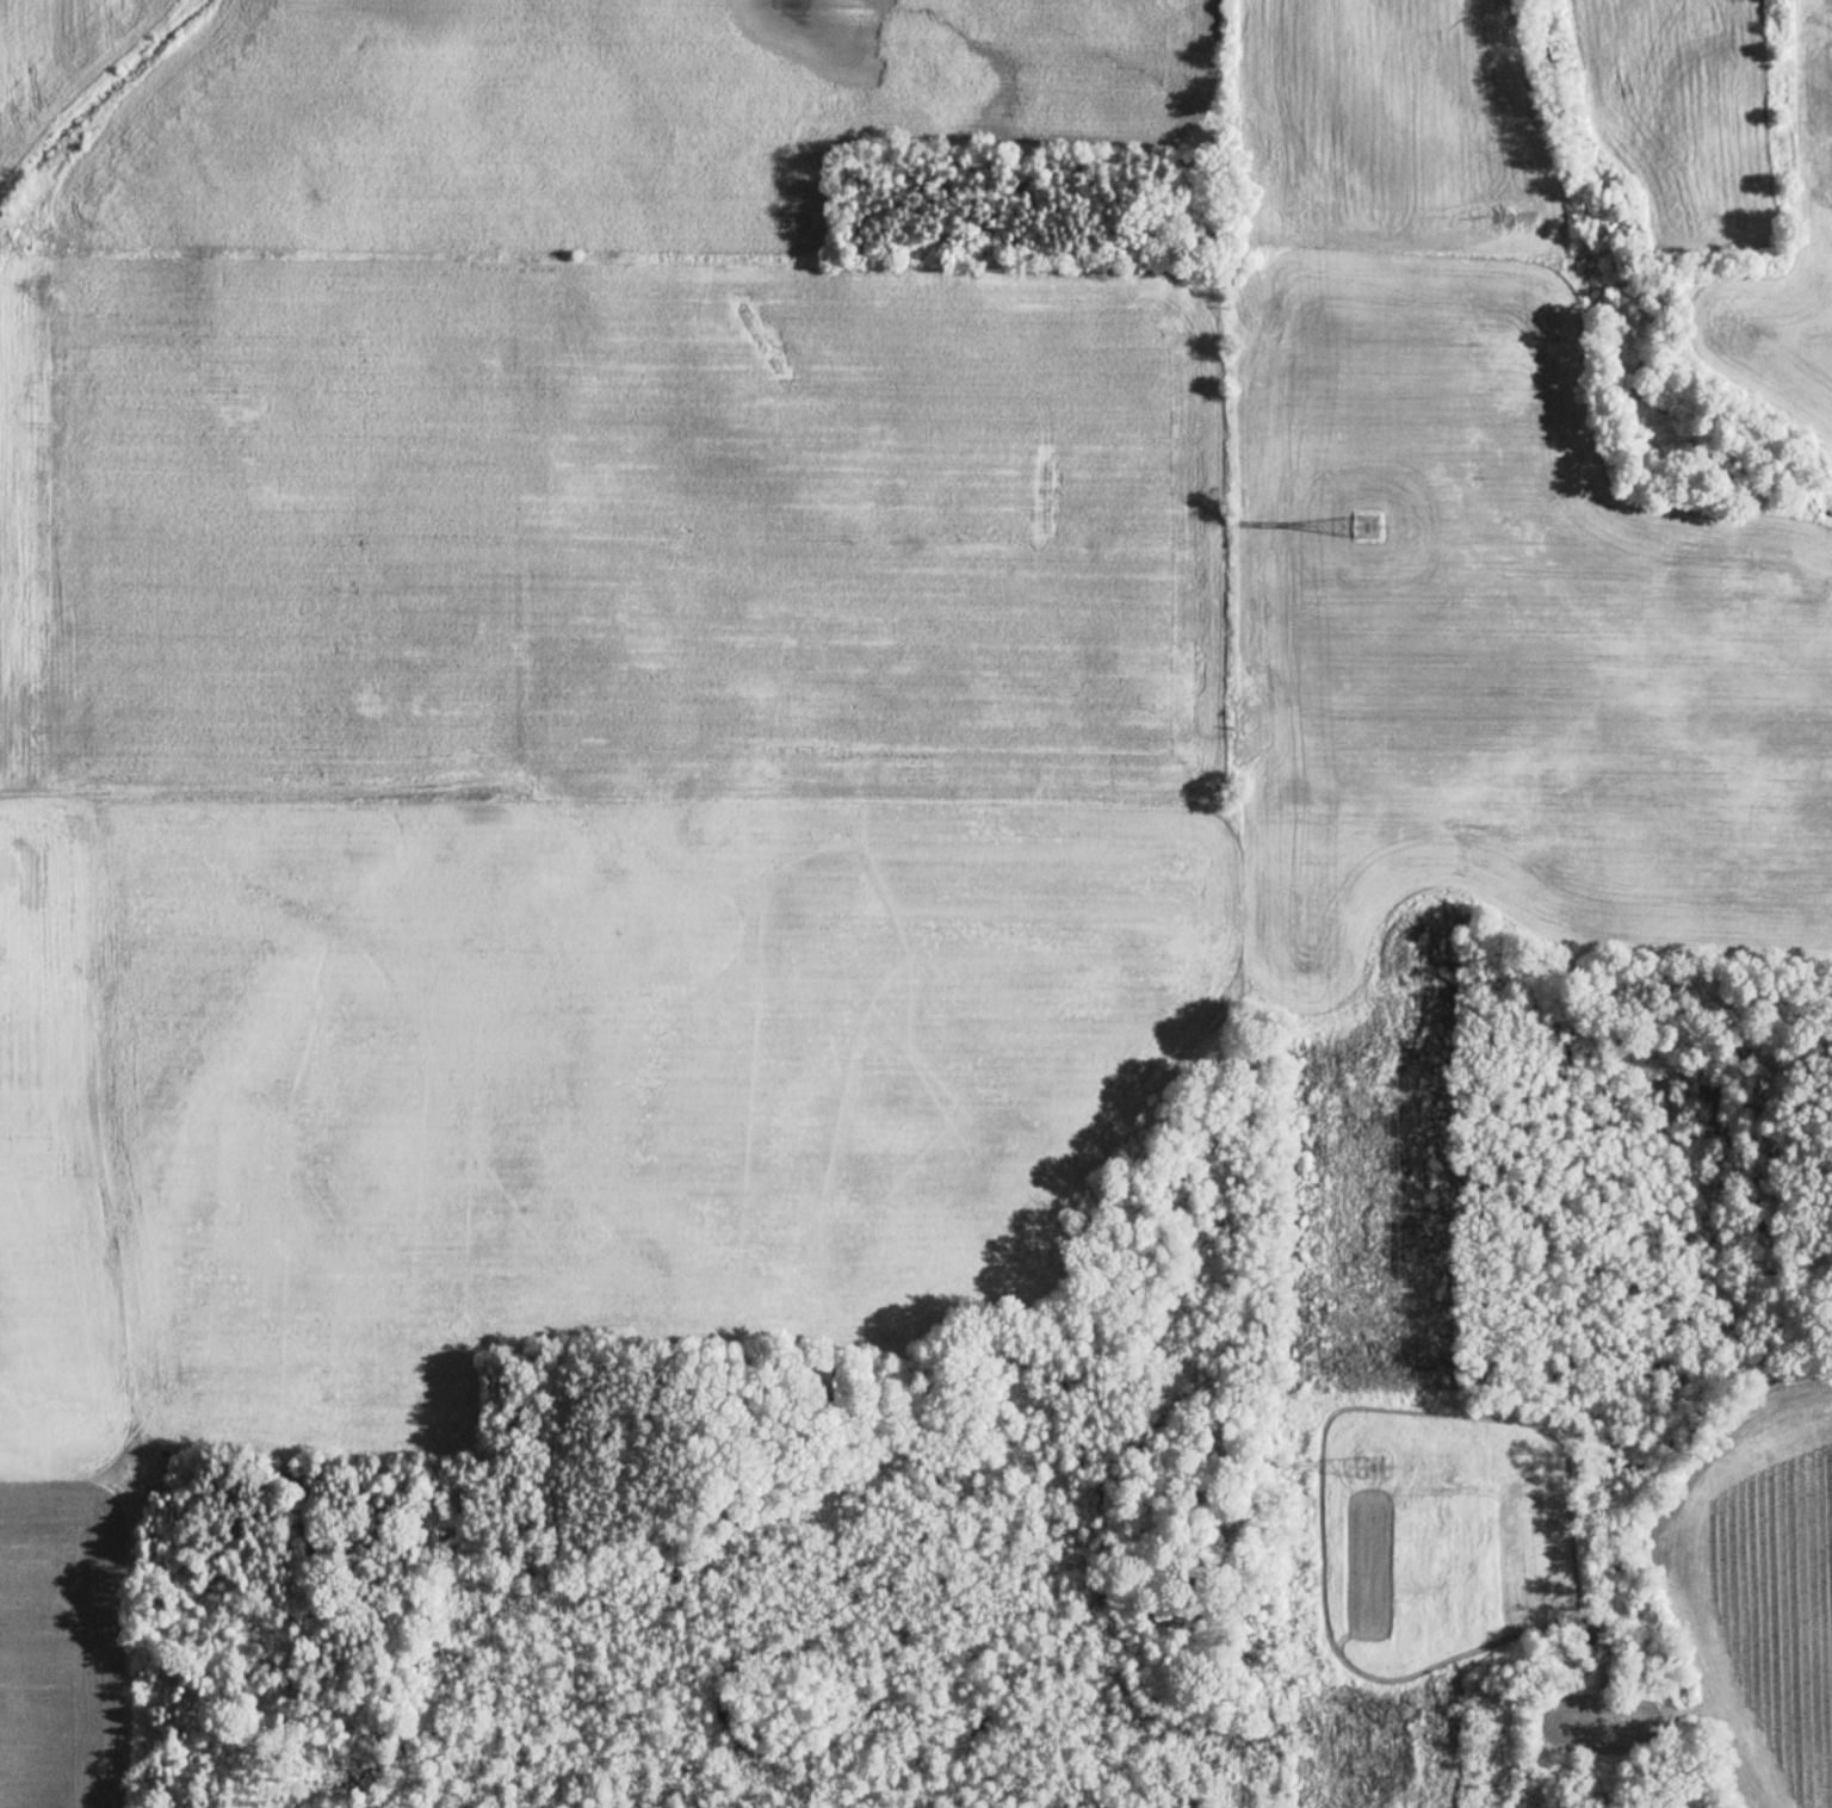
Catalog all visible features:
power tower: (1364, 512)
power tower: (1385, 1472)

